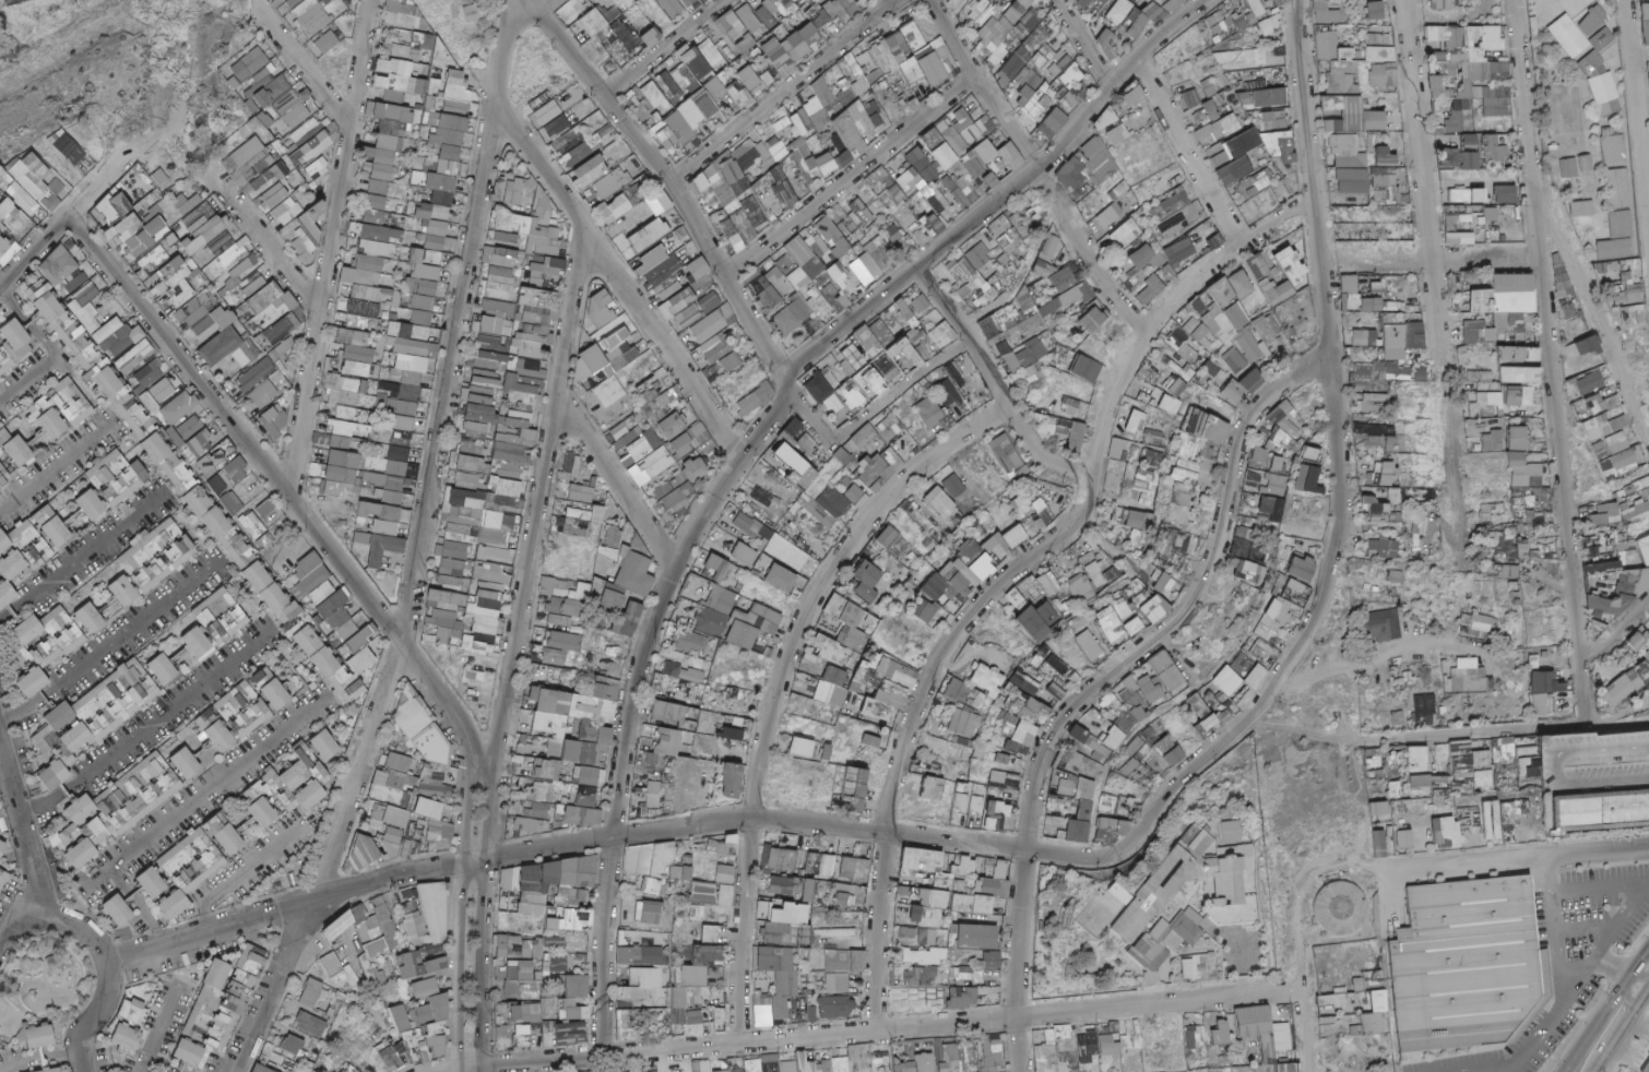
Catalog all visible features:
park: (35, 431)
park: (74, 511)
park: (244, 589)
park: (106, 595)
park: (181, 648)
park: (296, 662)
park: (247, 817)
park: (73, 885)
park: (270, 886)
park: (49, 976)

